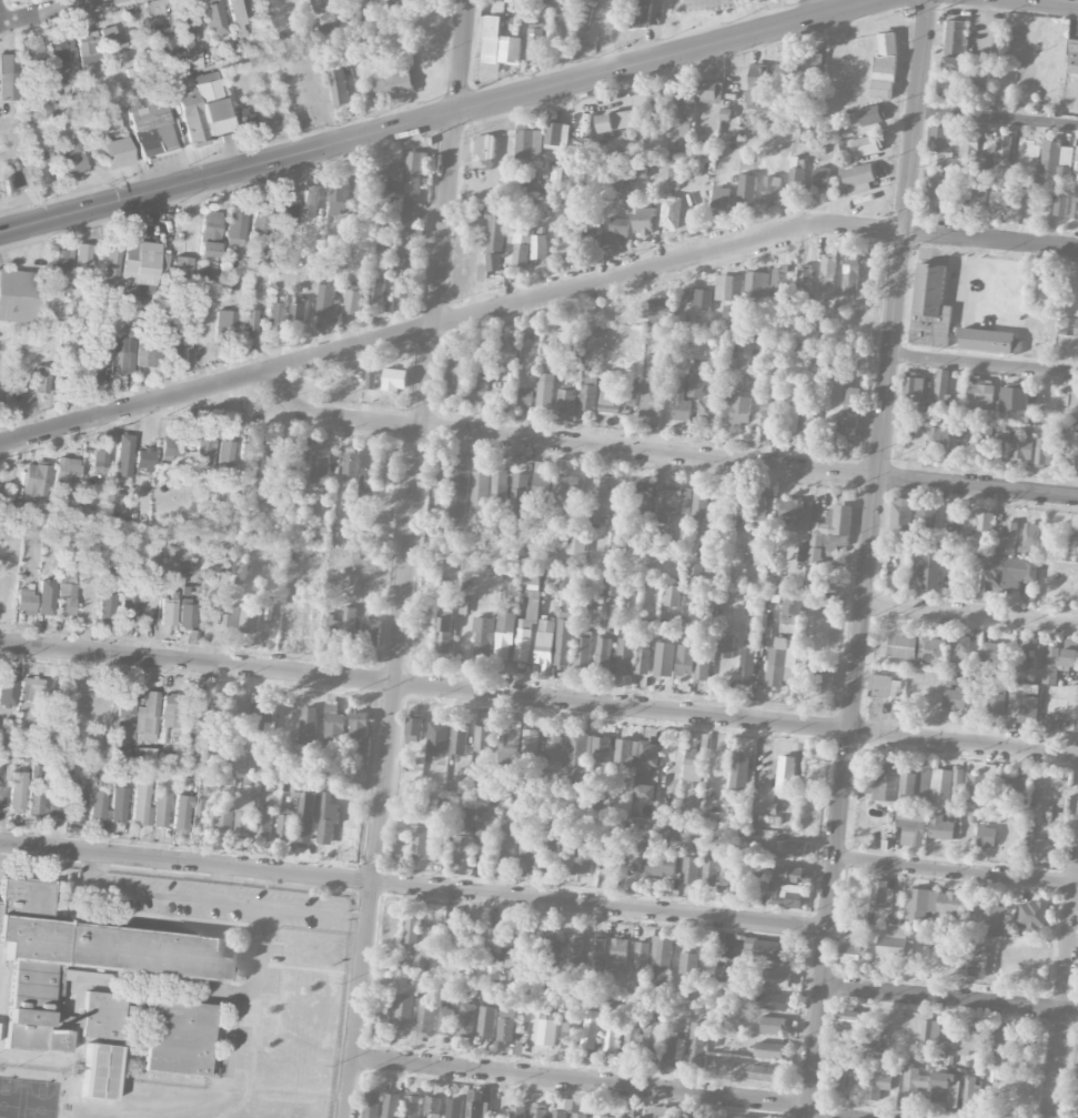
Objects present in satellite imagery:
road: (1070, 0)
building: (319, 6)
building: (365, 7)
building: (403, 7)
road: (817, 7)
building: (238, 11)
road: (53, 13)
building: (565, 13)
building: (213, 19)
building: (184, 23)
building: (163, 39)
building: (491, 39)
building: (188, 40)
building: (112, 41)
building: (535, 43)
building: (954, 44)
building: (89, 48)
building: (510, 50)
building: (62, 57)
building: (1072, 57)
building: (32, 61)
road: (234, 62)
building: (813, 62)
building: (884, 68)
building: (784, 72)
building: (8, 75)
building: (392, 81)
building: (978, 84)
building: (759, 85)
building: (339, 87)
building: (708, 92)
building: (212, 107)
building: (655, 107)
building: (686, 111)
building: (191, 115)
building: (870, 115)
building: (245, 118)
road: (436, 119)
road: (997, 119)
building: (724, 120)
building: (618, 121)
building: (108, 122)
building: (151, 125)
building: (556, 134)
building: (528, 142)
building: (866, 145)
building: (938, 147)
building: (969, 147)
building: (118, 152)
building: (480, 152)
building: (1025, 153)
building: (1001, 154)
building: (71, 157)
building: (1076, 158)
building: (1056, 160)
building: (414, 174)
building: (14, 175)
building: (674, 177)
building: (822, 177)
building: (393, 178)
building: (796, 179)
building: (856, 179)
building: (617, 181)
building: (534, 182)
building: (746, 189)
building: (772, 189)
building: (931, 193)
building: (362, 195)
building: (977, 198)
building: (325, 200)
building: (998, 200)
building: (721, 201)
building: (1060, 204)
building: (285, 208)
building: (1075, 209)
building: (261, 215)
building: (410, 218)
building: (644, 221)
building: (671, 221)
building: (210, 223)
building: (576, 223)
building: (234, 228)
building: (618, 229)
building: (417, 231)
building: (495, 238)
building: (592, 239)
building: (538, 246)
building: (518, 248)
building: (566, 248)
building: (208, 249)
building: (82, 255)
building: (112, 255)
building: (141, 262)
building: (337, 263)
building: (182, 265)
building: (58, 270)
building: (209, 271)
building: (850, 273)
building: (827, 276)
building: (778, 282)
building: (804, 282)
building: (402, 283)
building: (1036, 284)
building: (757, 286)
building: (728, 288)
building: (376, 290)
building: (127, 294)
building: (18, 296)
building: (353, 298)
building: (701, 300)
road: (534, 301)
building: (328, 302)
building: (930, 306)
building: (300, 310)
building: (656, 310)
building: (728, 312)
building: (274, 314)
building: (248, 321)
building: (225, 324)
building: (1076, 329)
building: (986, 340)
building: (171, 343)
building: (557, 344)
building: (507, 346)
building: (123, 350)
building: (148, 354)
building: (457, 359)
road: (984, 366)
building: (72, 370)
building: (42, 379)
building: (395, 380)
building: (696, 380)
building: (371, 381)
building: (453, 383)
building: (914, 384)
building: (941, 384)
building: (632, 386)
building: (481, 390)
building: (545, 391)
building: (980, 394)
building: (607, 395)
building: (525, 396)
building: (587, 397)
building: (1015, 397)
building: (567, 399)
building: (631, 400)
building: (649, 400)
building: (681, 402)
building: (705, 409)
building: (737, 409)
building: (792, 411)
building: (850, 411)
building: (767, 415)
building: (806, 424)
building: (939, 437)
building: (170, 447)
building: (1021, 451)
building: (1044, 451)
building: (204, 452)
building: (225, 452)
building: (248, 454)
road: (664, 454)
building: (984, 454)
building: (1077, 454)
building: (123, 455)
building: (99, 459)
building: (143, 459)
building: (351, 466)
building: (320, 467)
building: (271, 470)
building: (68, 472)
building: (367, 480)
building: (442, 480)
building: (36, 481)
building: (498, 484)
building: (563, 491)
building: (460, 493)
building: (478, 496)
building: (642, 497)
building: (0, 498)
building: (518, 498)
building: (598, 498)
building: (673, 502)
building: (698, 504)
building: (738, 506)
building: (759, 511)
building: (955, 513)
building: (790, 514)
building: (901, 515)
building: (926, 520)
building: (979, 522)
building: (829, 533)
building: (618, 536)
building: (1007, 538)
building: (1030, 538)
building: (1072, 541)
building: (575, 547)
building: (759, 547)
road: (407, 558)
road: (867, 558)
building: (925, 570)
building: (696, 571)
building: (711, 572)
building: (1007, 573)
building: (532, 577)
building: (814, 584)
building: (612, 586)
building: (67, 594)
building: (46, 596)
building: (672, 596)
building: (24, 600)
building: (593, 603)
building: (129, 604)
building: (107, 605)
building: (168, 612)
road: (970, 614)
building: (187, 615)
building: (231, 618)
building: (250, 618)
building: (349, 627)
building: (371, 632)
building: (444, 632)
building: (504, 635)
building: (483, 636)
building: (960, 643)
building: (563, 644)
building: (523, 645)
building: (784, 645)
building: (545, 646)
building: (725, 647)
building: (916, 648)
building: (582, 652)
building: (603, 653)
building: (995, 653)
building: (1036, 654)
building: (624, 656)
building: (664, 659)
building: (1059, 659)
building: (643, 661)
building: (691, 664)
building: (747, 666)
building: (823, 681)
building: (30, 686)
building: (884, 686)
building: (7, 688)
building: (954, 694)
road: (538, 698)
building: (996, 701)
building: (125, 703)
building: (1022, 706)
building: (170, 709)
building: (216, 709)
building: (240, 713)
building: (147, 714)
building: (263, 715)
building: (193, 719)
building: (334, 724)
building: (359, 724)
building: (309, 725)
building: (414, 727)
building: (482, 737)
building: (459, 739)
building: (508, 745)
building: (530, 746)
building: (553, 749)
building: (600, 749)
building: (625, 753)
building: (120, 754)
building: (576, 754)
building: (143, 755)
building: (647, 757)
building: (694, 765)
building: (739, 772)
building: (785, 774)
building: (981, 784)
building: (881, 785)
building: (916, 786)
building: (947, 787)
building: (38, 789)
building: (522, 789)
building: (1014, 789)
building: (18, 790)
building: (644, 793)
building: (2, 797)
building: (119, 800)
building: (57, 802)
building: (598, 802)
building: (141, 804)
building: (77, 808)
building: (160, 810)
building: (471, 810)
building: (181, 812)
building: (202, 815)
building: (244, 817)
building: (306, 818)
building: (328, 818)
building: (422, 820)
building: (224, 822)
building: (349, 824)
building: (264, 825)
building: (911, 825)
building: (284, 827)
building: (941, 828)
building: (986, 836)
building: (401, 839)
building: (420, 839)
building: (463, 844)
building: (507, 844)
building: (548, 847)
building: (793, 848)
building: (440, 849)
building: (526, 849)
building: (1041, 850)
building: (565, 859)
building: (608, 859)
building: (584, 862)
building: (658, 866)
building: (689, 870)
building: (711, 872)
road: (956, 872)
building: (788, 874)
road: (413, 885)
road: (135, 892)
building: (787, 896)
building: (881, 899)
building: (921, 904)
building: (953, 905)
road: (274, 907)
building: (1034, 915)
building: (993, 916)
building: (978, 917)
building: (453, 933)
building: (410, 936)
building: (493, 938)
building: (895, 943)
building: (575, 946)
building: (554, 949)
building: (596, 949)
building: (772, 950)
building: (849, 950)
building: (513, 954)
building: (618, 954)
building: (642, 957)
building: (661, 960)
building: (688, 963)
building: (978, 964)
building: (82, 965)
building: (491, 970)
building: (778, 979)
road: (246, 988)
road: (1064, 990)
road: (949, 1000)
building: (775, 1003)
building: (403, 1011)
building: (381, 1015)
building: (425, 1016)
building: (445, 1020)
building: (466, 1020)
building: (486, 1023)
building: (506, 1024)
building: (547, 1024)
building: (848, 1024)
building: (770, 1025)
building: (570, 1030)
building: (929, 1031)
building: (590, 1035)
building: (609, 1035)
building: (997, 1036)
building: (178, 1037)
building: (966, 1040)
building: (649, 1041)
building: (628, 1045)
building: (696, 1045)
building: (672, 1050)
building: (769, 1050)
building: (838, 1061)
building: (99, 1071)
building: (764, 1074)
building: (838, 1080)
road: (581, 1081)
building: (913, 1082)
building: (876, 1085)
building: (945, 1089)
building: (970, 1094)
building: (371, 1104)
building: (412, 1105)
building: (476, 1105)
building: (391, 1106)
building: (585, 1106)
building: (432, 1107)
building: (454, 1108)
building: (537, 1110)
building: (517, 1112)
building: (557, 1114)
building: (578, 1116)
building: (598, 1116)
road: (823, 1116)
building: (618, 1117)
building: (741, 1117)

